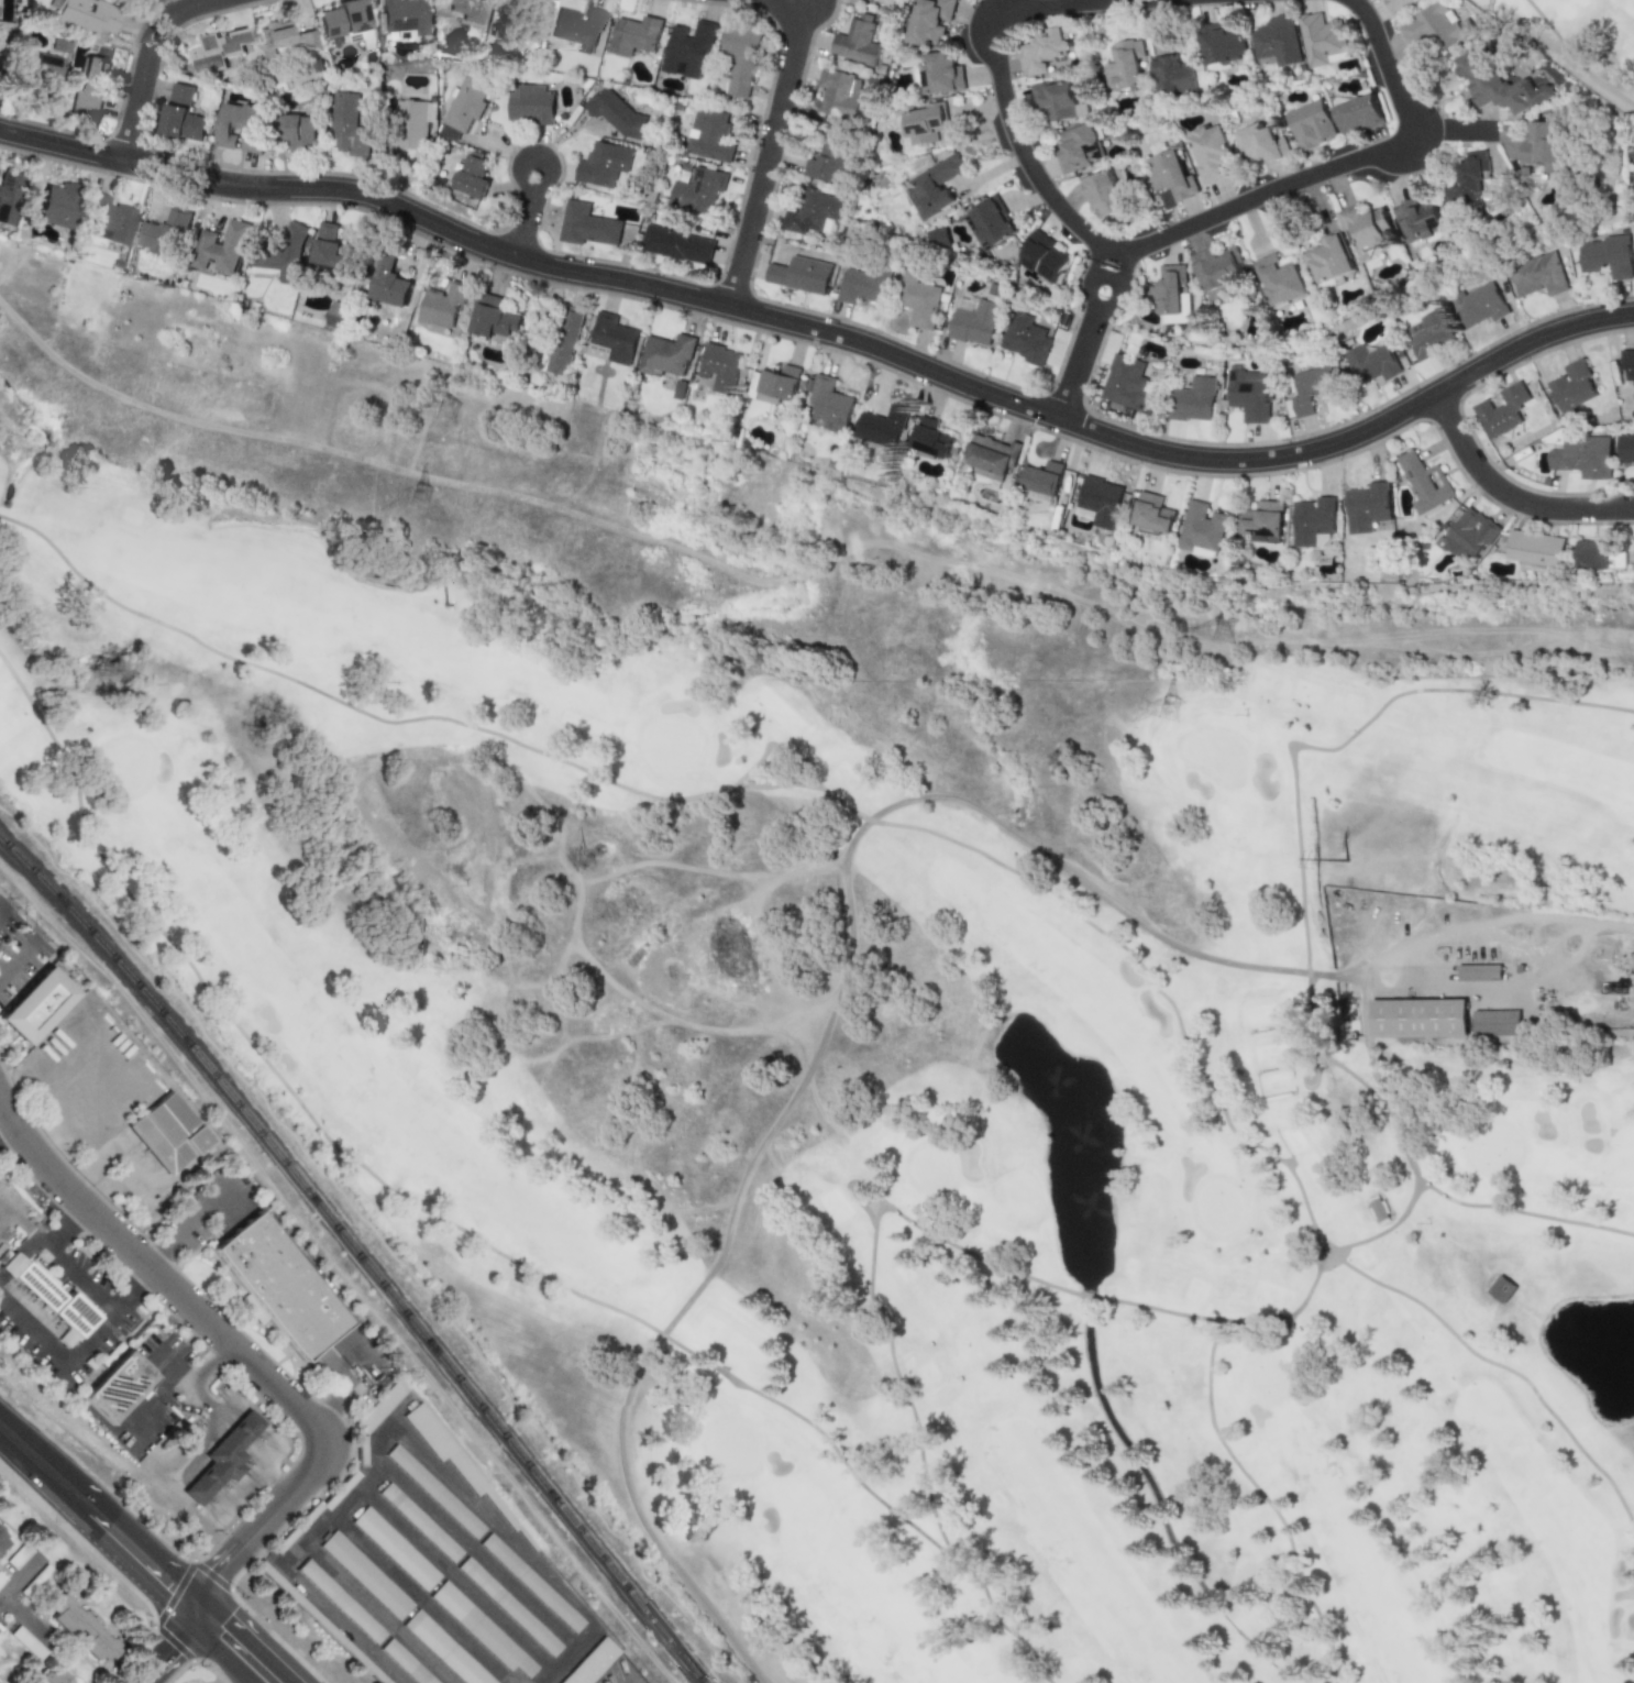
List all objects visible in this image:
building: (868, 0)
building: (1398, 4)
building: (466, 9)
building: (85, 14)
building: (538, 14)
building: (404, 15)
building: (343, 19)
building: (930, 21)
building: (1434, 26)
building: (578, 28)
building: (634, 35)
building: (274, 37)
building: (857, 40)
building: (1276, 40)
building: (1323, 40)
park: (1578, 40)
building: (305, 41)
building: (1219, 44)
building: (217, 50)
building: (688, 50)
building: (1042, 51)
road: (153, 54)
building: (740, 62)
road: (997, 62)
building: (1123, 65)
building: (44, 66)
building: (940, 74)
building: (1171, 76)
building: (1498, 84)
building: (89, 86)
building: (839, 94)
building: (1058, 100)
building: (529, 103)
building: (467, 105)
building: (617, 113)
building: (1358, 113)
building: (181, 114)
street lamp: (1, 116)
building: (411, 124)
building: (1310, 124)
building: (923, 125)
building: (241, 127)
building: (349, 127)
building: (299, 133)
road: (1453, 133)
street lamp: (108, 134)
building: (709, 135)
building: (1260, 144)
road: (772, 146)
building: (1077, 147)
building: (1542, 147)
street lamp: (519, 148)
building: (1210, 152)
street lamp: (40, 156)
building: (828, 159)
street lamp: (209, 163)
building: (604, 164)
road: (1342, 165)
building: (1171, 176)
building: (471, 177)
building: (1468, 182)
street lamp: (152, 184)
street lamp: (563, 185)
building: (935, 186)
building: (698, 189)
building: (1102, 195)
building: (9, 196)
building: (58, 205)
street lamp: (263, 207)
building: (814, 213)
road: (528, 218)
building: (1418, 220)
building: (108, 221)
building: (990, 224)
building: (1365, 224)
building: (586, 226)
building: (163, 233)
building: (939, 239)
street lamp: (541, 242)
building: (677, 244)
building: (222, 248)
building: (332, 250)
building: (283, 253)
building: (1607, 256)
building: (1045, 257)
road: (1116, 260)
building: (1326, 260)
street lamp: (487, 265)
building: (1217, 271)
building: (799, 274)
building: (1537, 275)
building: (388, 282)
building: (1280, 282)
building: (862, 285)
building: (1169, 289)
street lamp: (598, 294)
building: (917, 299)
building: (442, 305)
building: (1478, 305)
street lamp: (1585, 307)
building: (338, 312)
building: (494, 318)
street lamp: (710, 319)
building: (972, 320)
road: (829, 332)
street lamp: (884, 333)
building: (1427, 333)
building: (1025, 338)
building: (564, 340)
building: (611, 340)
road: (1086, 343)
street lamp: (820, 346)
building: (666, 354)
street lamp: (1476, 355)
street lamp: (1531, 361)
building: (1370, 363)
building: (1627, 365)
building: (719, 367)
street lamp: (991, 377)
building: (1126, 383)
building: (775, 384)
street lamp: (926, 385)
building: (1572, 387)
building: (1310, 388)
building: (1248, 395)
building: (1193, 399)
building: (830, 404)
street lamp: (1464, 404)
street lamp: (1378, 407)
building: (1502, 410)
power tower: (451, 411)
street lamp: (1104, 418)
building: (883, 426)
building: (929, 438)
street lamp: (1289, 440)
street lamp: (1197, 443)
building: (1626, 448)
building: (991, 457)
building: (1583, 457)
street lamp: (1344, 459)
street lamp: (1141, 465)
road: (405, 471)
building: (1040, 482)
building: (1425, 483)
road: (1510, 495)
power tower: (426, 502)
building: (1100, 502)
building: (1367, 507)
building: (1151, 513)
building: (1312, 520)
building: (1263, 521)
building: (1201, 527)
building: (1468, 535)
building: (1534, 548)
building: (1598, 555)
road: (1148, 629)
power tower: (1224, 631)
road: (344, 704)
power tower: (1172, 710)
road: (1315, 748)
road: (737, 780)
road: (716, 871)
road: (843, 882)
road: (576, 908)
road: (14, 925)
building: (1520, 968)
building: (1479, 972)
road: (1558, 974)
road: (553, 975)
building: (1610, 987)
road: (781, 994)
park: (882, 998)
road: (818, 1007)
building: (43, 1008)
road: (1619, 1014)
building: (1418, 1018)
building: (1495, 1022)
road: (583, 1037)
road: (545, 1070)
road: (1305, 1086)
road: (79, 1114)
road: (8, 1133)
building: (175, 1134)
road: (1252, 1144)
road: (101, 1163)
road: (142, 1174)
road: (1415, 1187)
road: (1443, 1196)
road: (198, 1219)
road: (465, 1231)
road: (36, 1244)
railway: (358, 1253)
road: (1323, 1262)
road: (85, 1280)
building: (277, 1286)
building: (1500, 1288)
road: (1063, 1290)
building: (51, 1298)
road: (136, 1330)
road: (183, 1345)
road: (235, 1349)
road: (364, 1355)
road: (350, 1360)
road: (65, 1361)
road: (192, 1378)
building: (123, 1388)
road: (350, 1394)
road: (161, 1404)
building: (380, 1406)
road: (393, 1417)
road: (241, 1439)
building: (361, 1450)
building: (223, 1455)
building: (454, 1460)
building: (339, 1491)
building: (433, 1491)
road: (99, 1520)
building: (420, 1521)
street lamp: (53, 1524)
building: (297, 1527)
building: (0, 1536)
building: (1, 1543)
building: (395, 1549)
building: (16, 1555)
road: (478, 1561)
traffic signals: (224, 1571)
building: (365, 1575)
building: (1, 1580)
road: (20, 1580)
building: (34, 1582)
road: (456, 1582)
building: (531, 1583)
traffic signals: (169, 1585)
parking lot: (24, 1599)
road: (424, 1599)
building: (341, 1602)
building: (509, 1606)
road: (377, 1613)
road: (24, 1621)
traffic signals: (232, 1621)
parking lot: (0, 1623)
building: (320, 1623)
building: (79, 1628)
building: (482, 1630)
road: (252, 1640)
building: (24, 1642)
building: (444, 1649)
road: (175, 1650)
road: (220, 1651)
traffic signals: (173, 1654)
building: (406, 1662)
building: (590, 1662)
building: (46, 1676)
building: (27, 1682)

